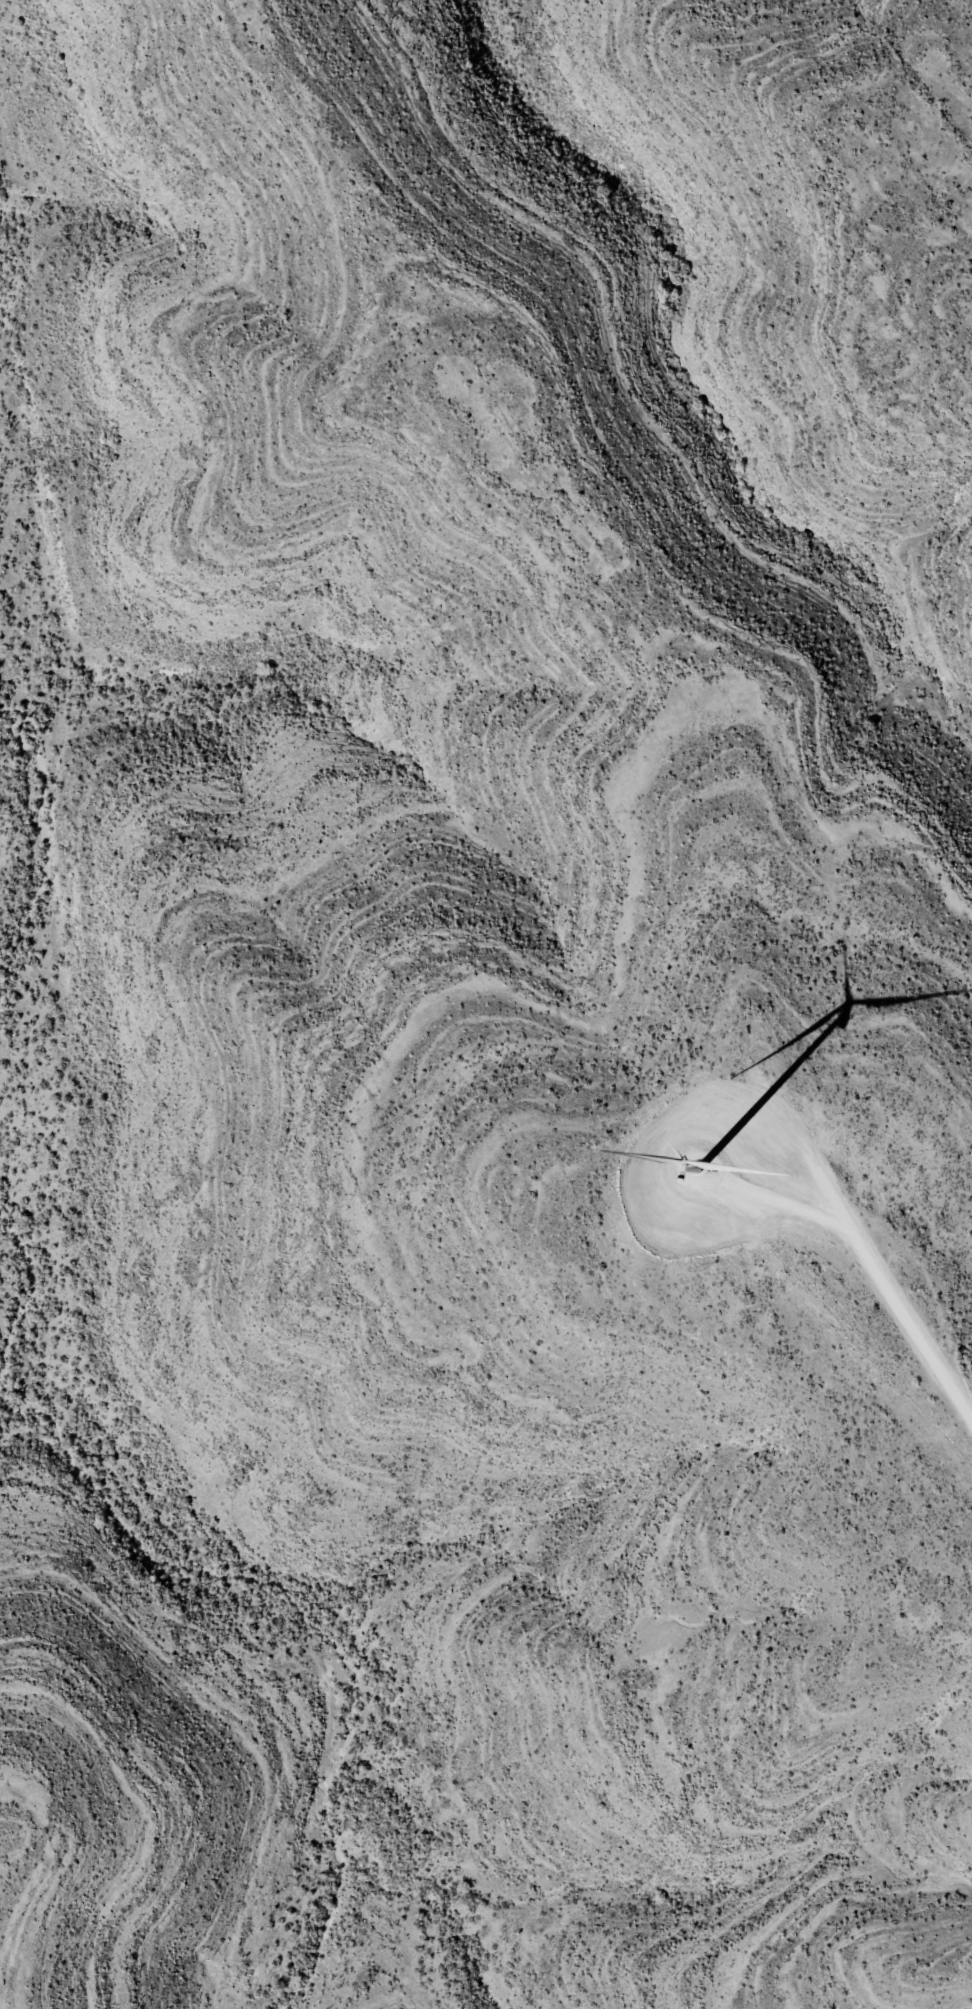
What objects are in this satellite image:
wind turbine: (696, 1169)

